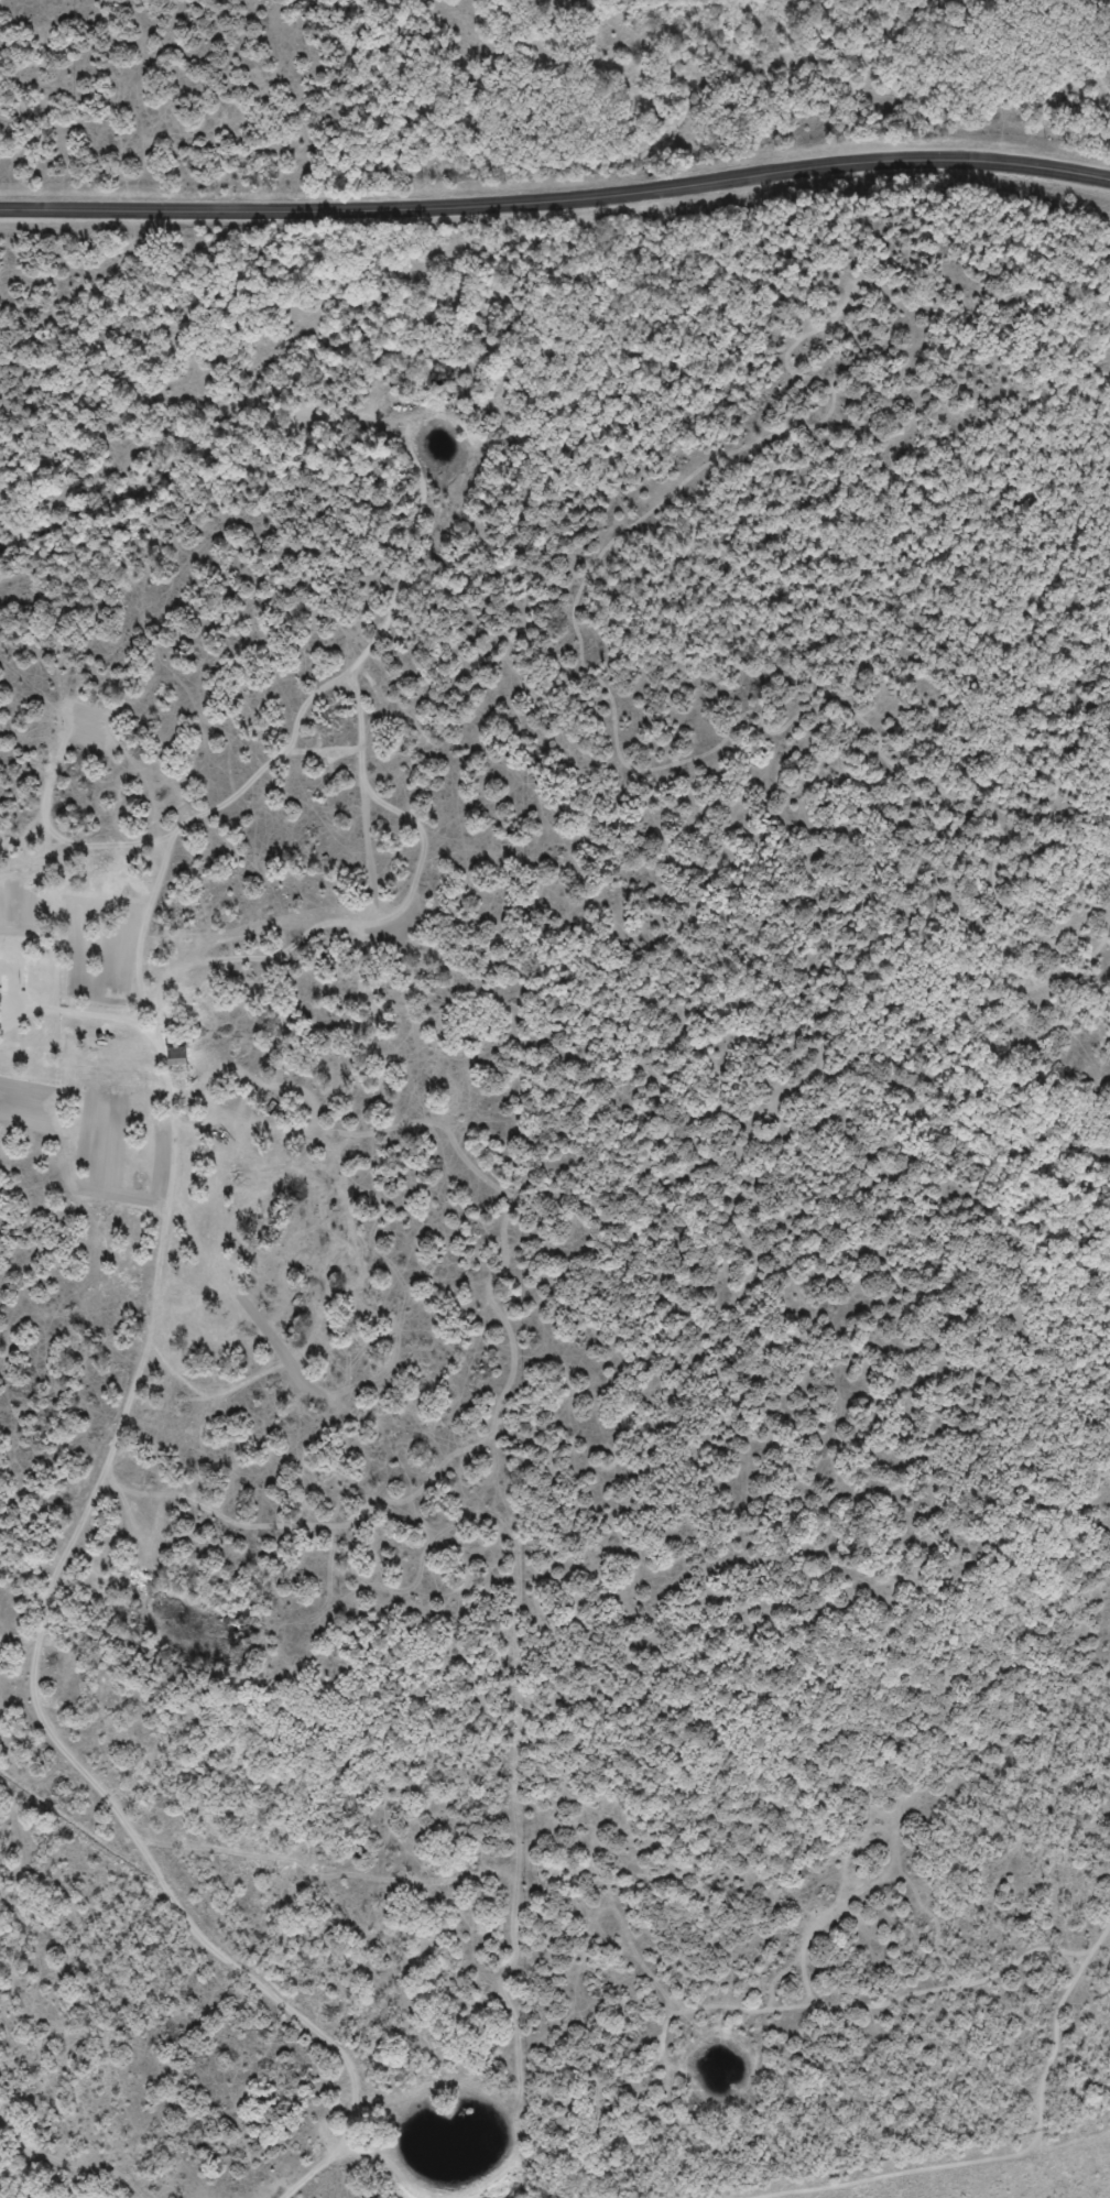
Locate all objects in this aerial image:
road: (556, 204)
building: (2, 986)
building: (179, 1060)

